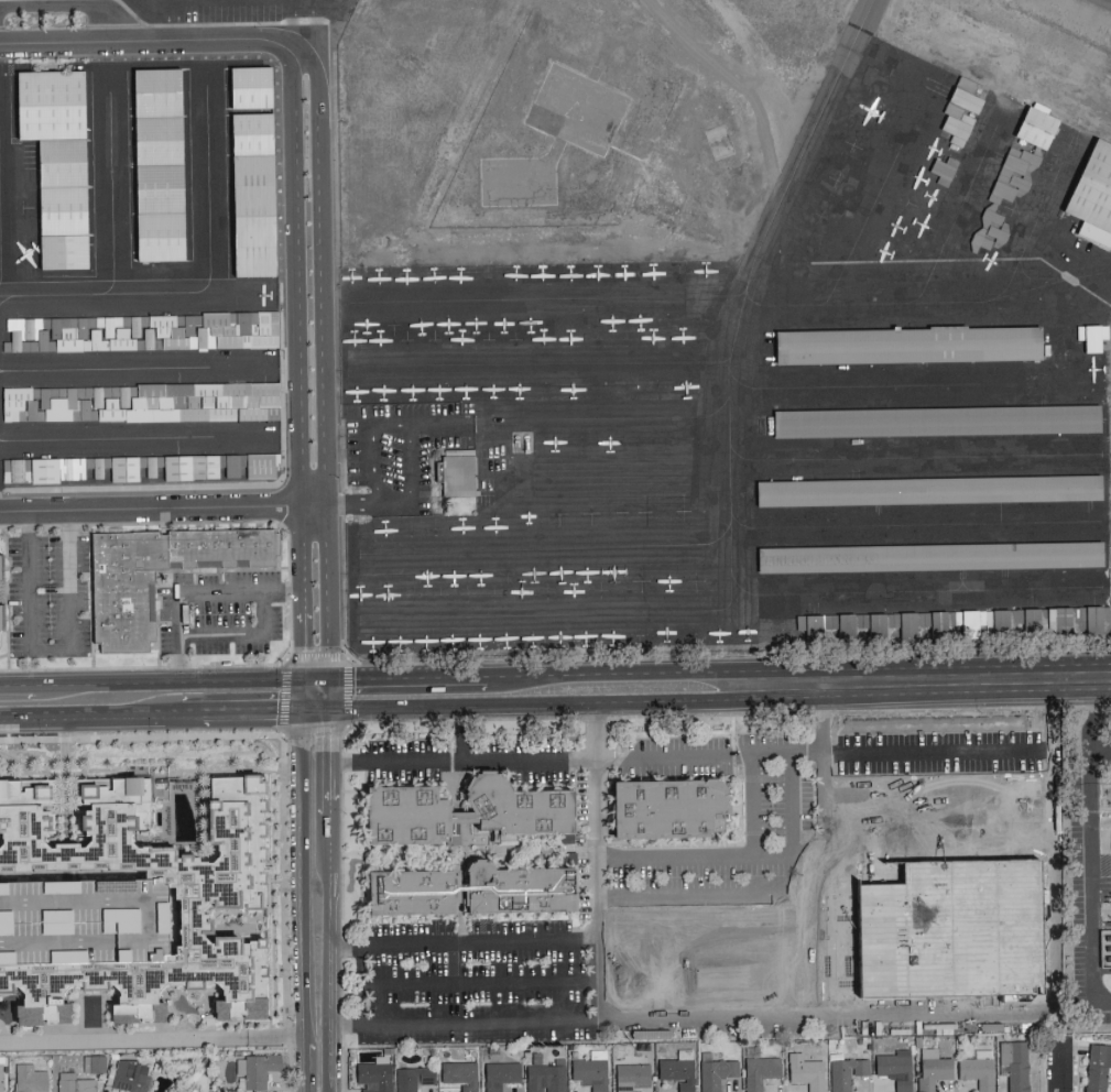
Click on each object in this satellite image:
road: (73, 7)
parking lot: (239, 10)
road: (175, 22)
road: (303, 26)
road: (159, 45)
building: (251, 89)
building: (157, 92)
building: (50, 105)
building: (958, 110)
building: (1033, 125)
building: (252, 135)
building: (159, 140)
building: (62, 163)
building: (1015, 167)
building: (160, 189)
building: (1091, 194)
building: (63, 211)
building: (253, 216)
building: (992, 217)
building: (160, 238)
building: (63, 252)
airport: (585, 306)
building: (141, 332)
building: (1090, 336)
building: (910, 346)
road: (296, 371)
road: (324, 372)
building: (141, 404)
building: (938, 422)
road: (438, 425)
airport taxiway: (107, 439)
airport taxiway: (1, 440)
road: (369, 446)
parking lot: (397, 457)
road: (412, 463)
building: (139, 471)
building: (459, 473)
building: (925, 490)
road: (370, 504)
road: (163, 510)
building: (926, 557)
road: (198, 594)
parking lot: (48, 597)
building: (124, 608)
parking lot: (217, 612)
building: (1086, 620)
building: (992, 621)
building: (1022, 622)
building: (1053, 622)
building: (933, 623)
building: (836, 626)
road: (241, 634)
road: (51, 652)
road: (316, 658)
road: (614, 673)
road: (407, 676)
traffic signals: (302, 678)
road: (316, 678)
traffic signals: (330, 678)
road: (166, 679)
road: (17, 682)
road: (924, 687)
road: (346, 691)
road: (302, 692)
road: (330, 692)
road: (284, 696)
road: (535, 705)
road: (316, 707)
traffic signals: (330, 707)
road: (241, 708)
traffic signals: (302, 708)
road: (90, 710)
road: (1096, 717)
road: (314, 730)
road: (1011, 747)
road: (970, 757)
road: (896, 758)
road: (576, 760)
road: (330, 761)
road: (1011, 787)
road: (896, 795)
road: (792, 805)
road: (751, 806)
building: (524, 811)
building: (673, 812)
building: (409, 819)
road: (897, 831)
road: (330, 848)
road: (825, 852)
road: (1054, 855)
road: (710, 856)
building: (26, 858)
road: (596, 864)
building: (162, 870)
road: (303, 874)
road: (1091, 874)
building: (476, 896)
road: (711, 897)
building: (126, 917)
building: (956, 933)
road: (578, 941)
road: (593, 981)
road: (330, 986)
road: (361, 986)
road: (680, 1022)
road: (152, 1038)
building: (96, 1063)
building: (1013, 1064)
road: (1060, 1066)
building: (1096, 1066)
road: (305, 1067)
building: (894, 1068)
building: (930, 1068)
building: (257, 1069)
building: (976, 1069)
building: (590, 1070)
building: (677, 1070)
building: (759, 1071)
building: (805, 1071)
building: (846, 1072)
building: (458, 1073)
building: (716, 1073)
building: (0, 1074)
building: (499, 1074)
building: (630, 1075)
building: (129, 1077)
building: (372, 1077)
building: (546, 1077)
building: (412, 1078)
building: (28, 1079)
building: (76, 1083)

